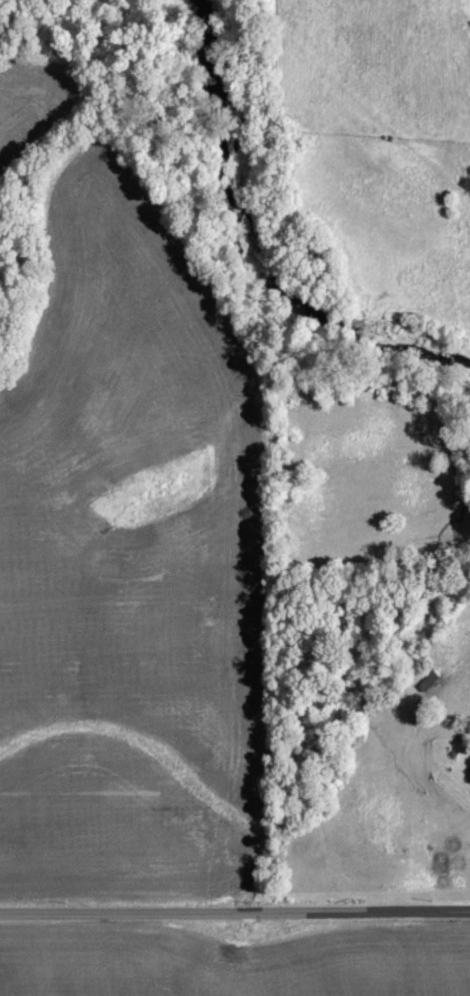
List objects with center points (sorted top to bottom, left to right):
road: (235, 912)

